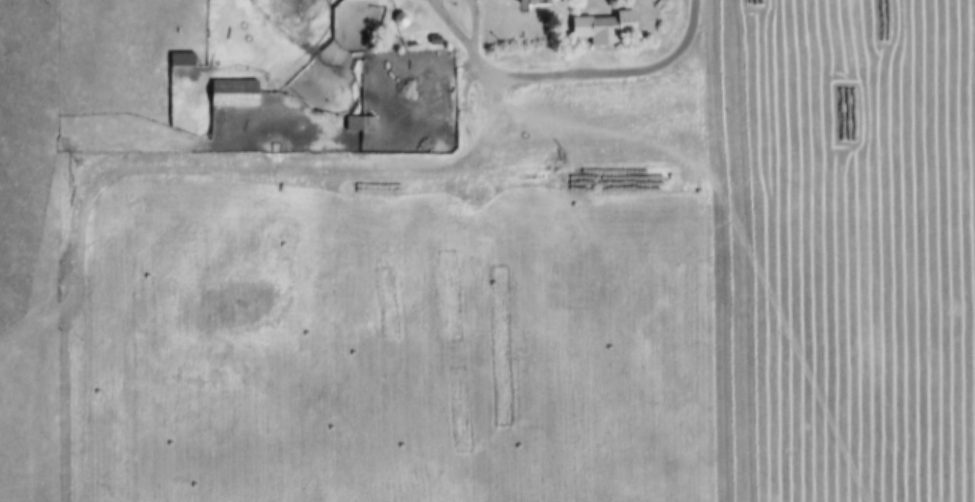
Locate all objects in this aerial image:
building: (531, 2)
building: (347, 5)
building: (600, 29)
road: (464, 46)
building: (178, 59)
road: (600, 77)
building: (230, 94)
building: (356, 125)
road: (219, 172)

